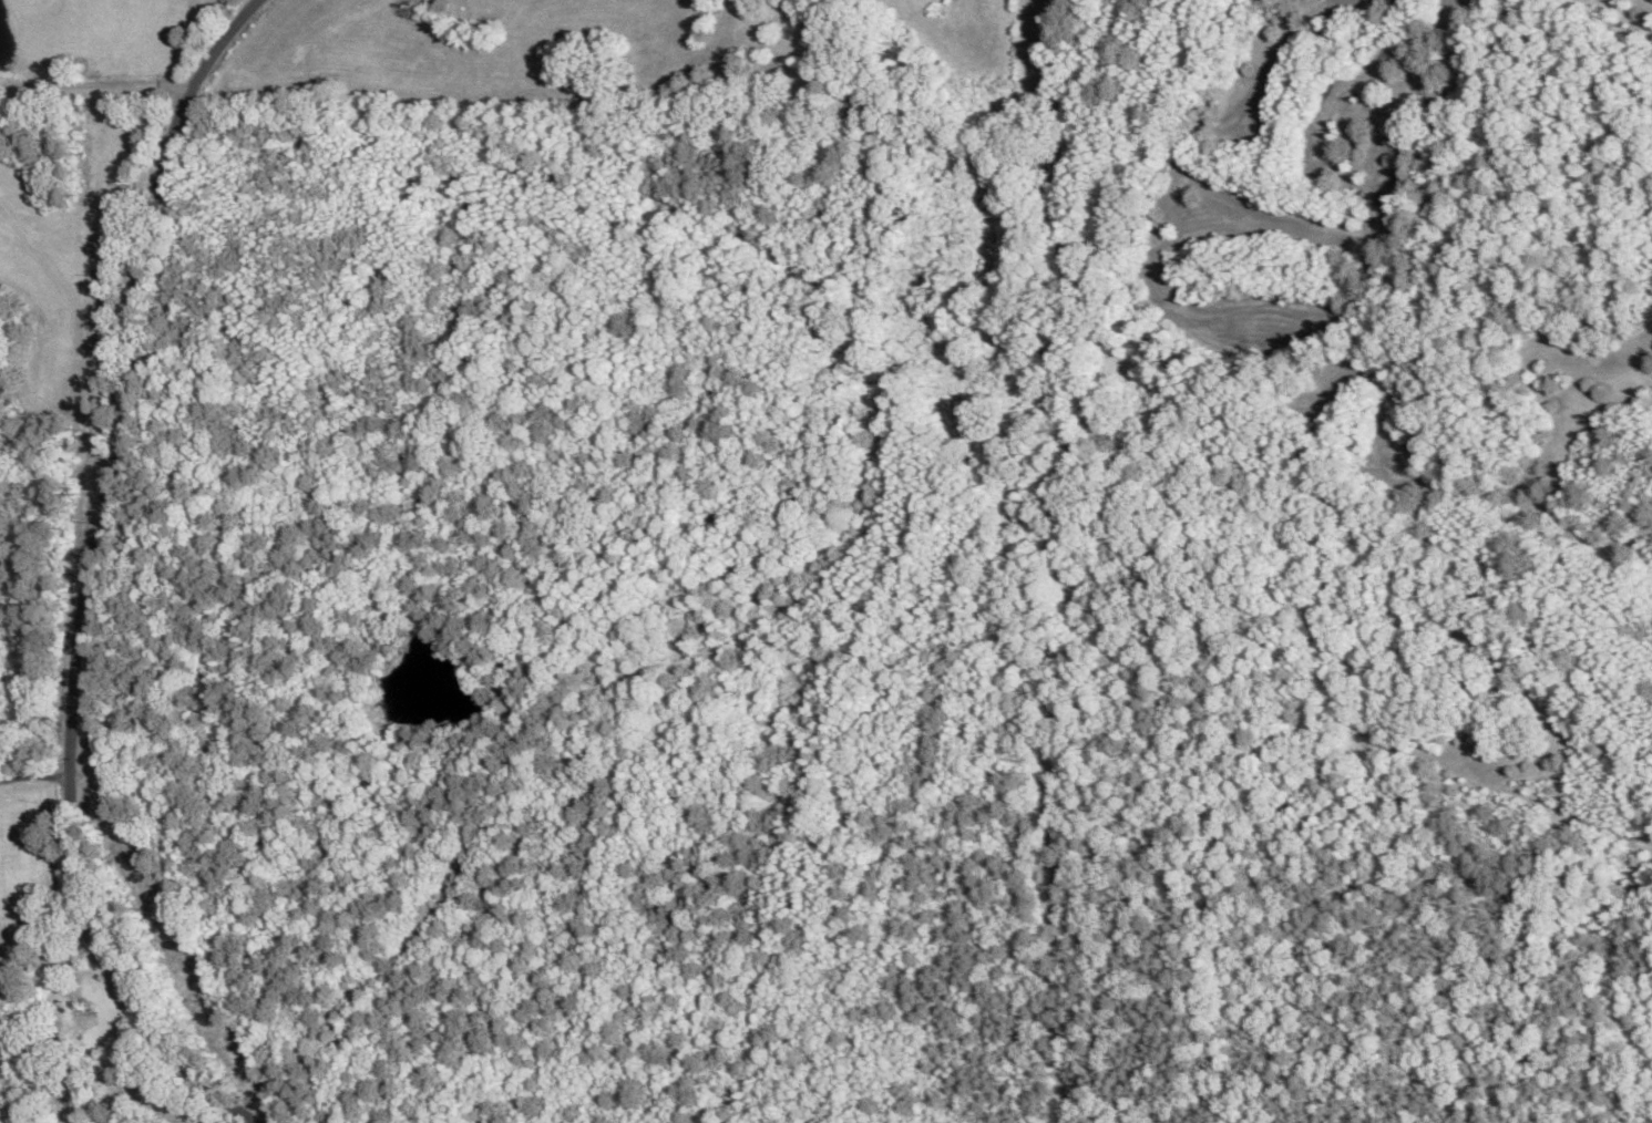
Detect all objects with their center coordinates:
building: (441, 2)
road: (88, 577)
road: (34, 777)
building: (86, 1018)

